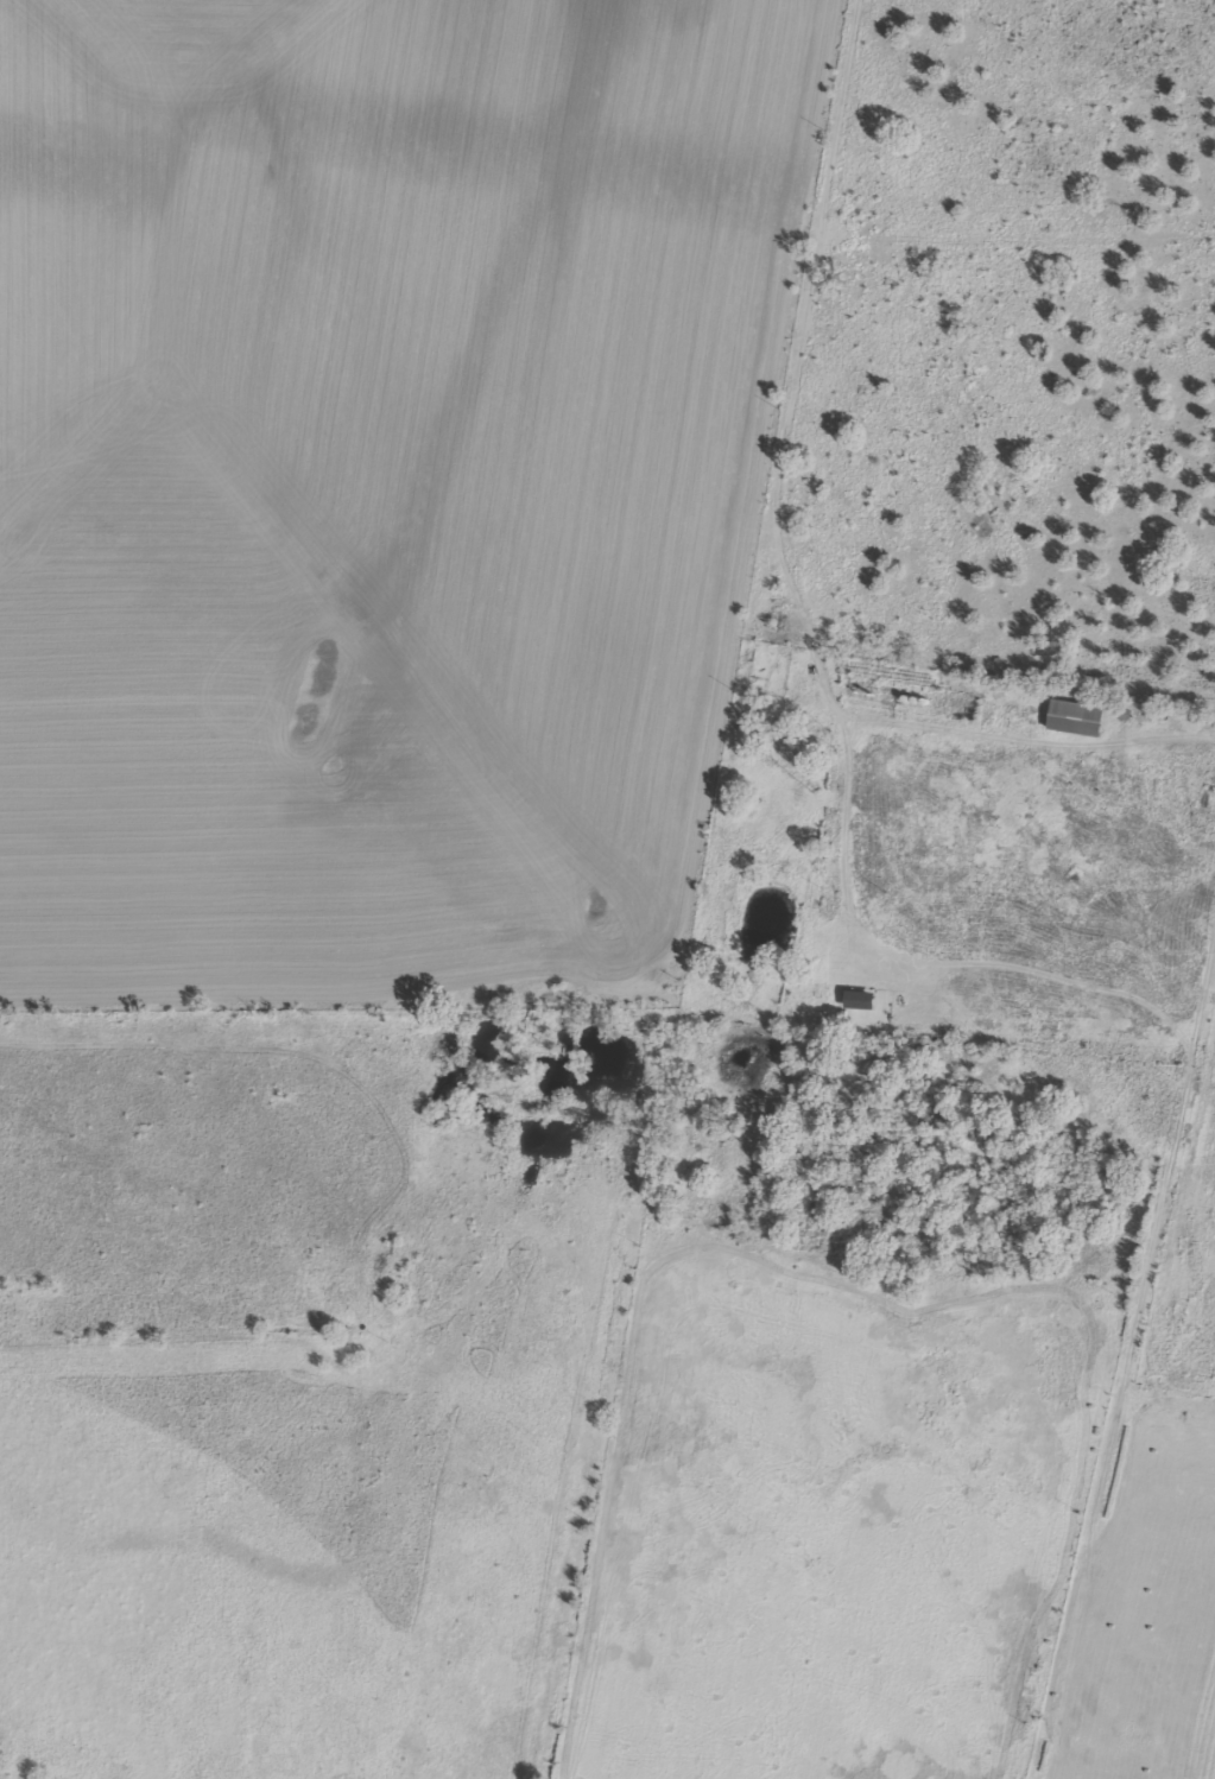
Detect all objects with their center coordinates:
building: (1071, 717)

